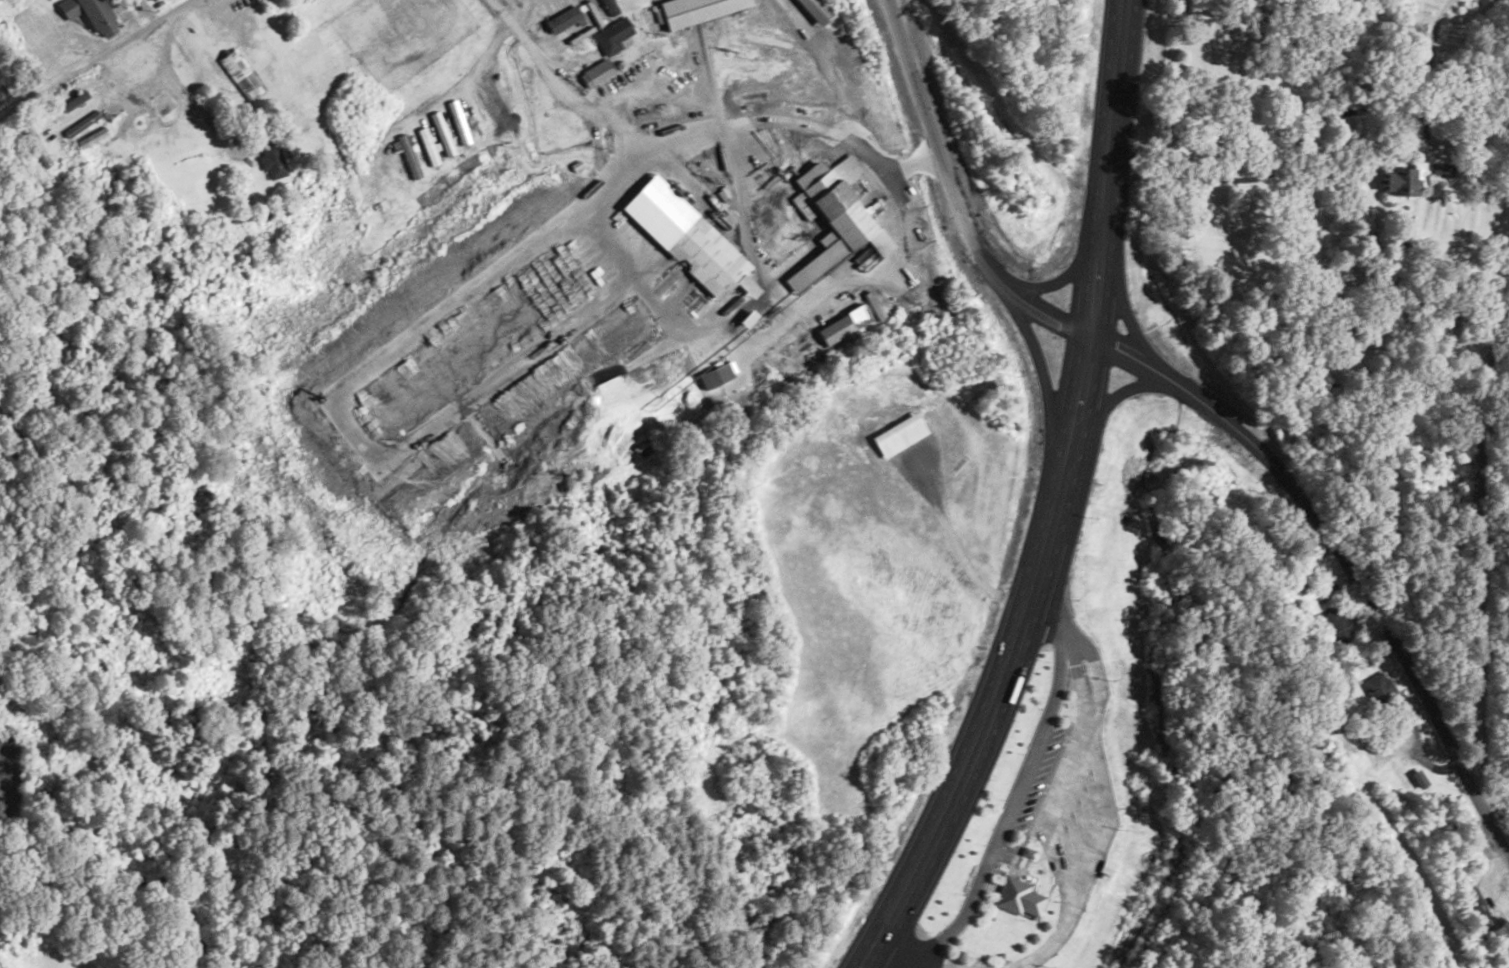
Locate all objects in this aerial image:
building: (694, 10)
building: (814, 11)
building: (89, 14)
building: (564, 19)
building: (610, 35)
road: (97, 58)
building: (597, 73)
building: (240, 74)
building: (3, 83)
building: (72, 100)
building: (82, 122)
building: (91, 138)
building: (38, 152)
building: (272, 161)
building: (1438, 169)
building: (1399, 178)
road: (953, 193)
building: (830, 222)
road: (1061, 277)
road: (1125, 308)
building: (835, 330)
building: (715, 375)
road: (1045, 393)
road: (1108, 400)
road: (1055, 501)
road: (1341, 557)
building: (1337, 627)
building: (1374, 686)
road: (1493, 786)
building: (1464, 866)
building: (1028, 902)
building: (1477, 907)

